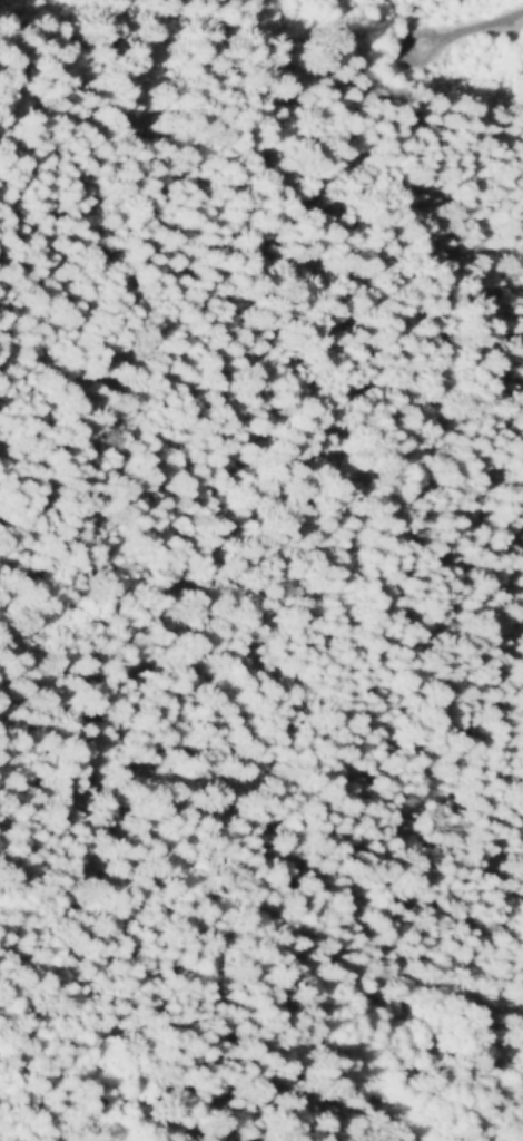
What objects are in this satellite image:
road: (471, 33)

